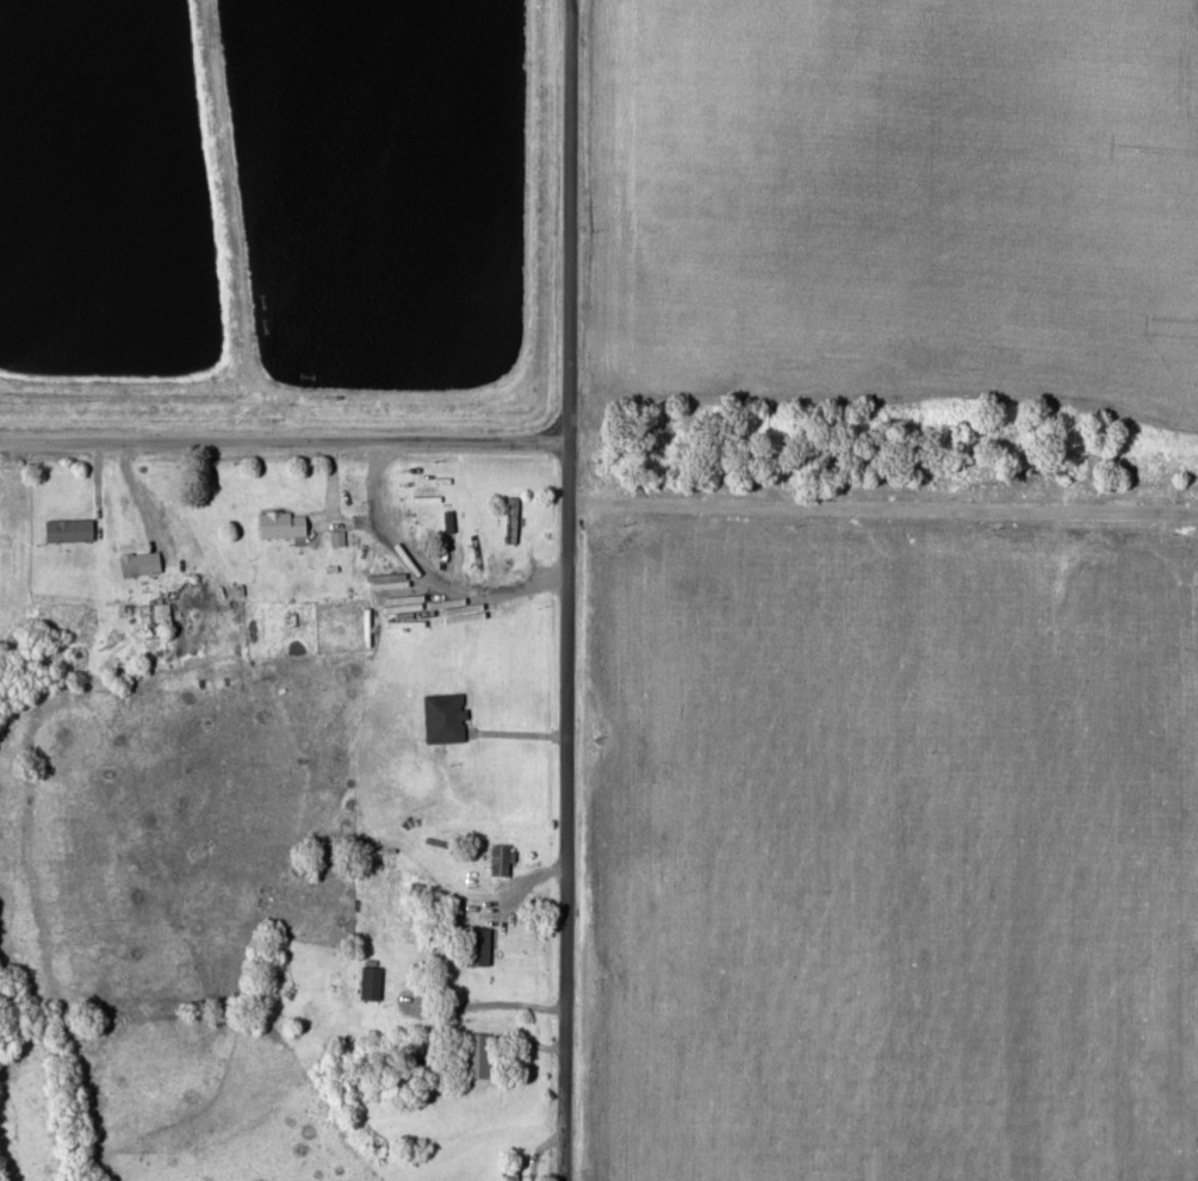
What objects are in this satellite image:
road: (285, 440)
building: (514, 518)
building: (285, 522)
building: (70, 528)
building: (142, 561)
road: (573, 590)
building: (447, 716)
building: (504, 859)
building: (483, 945)
building: (373, 982)
building: (482, 1055)
building: (514, 1173)

